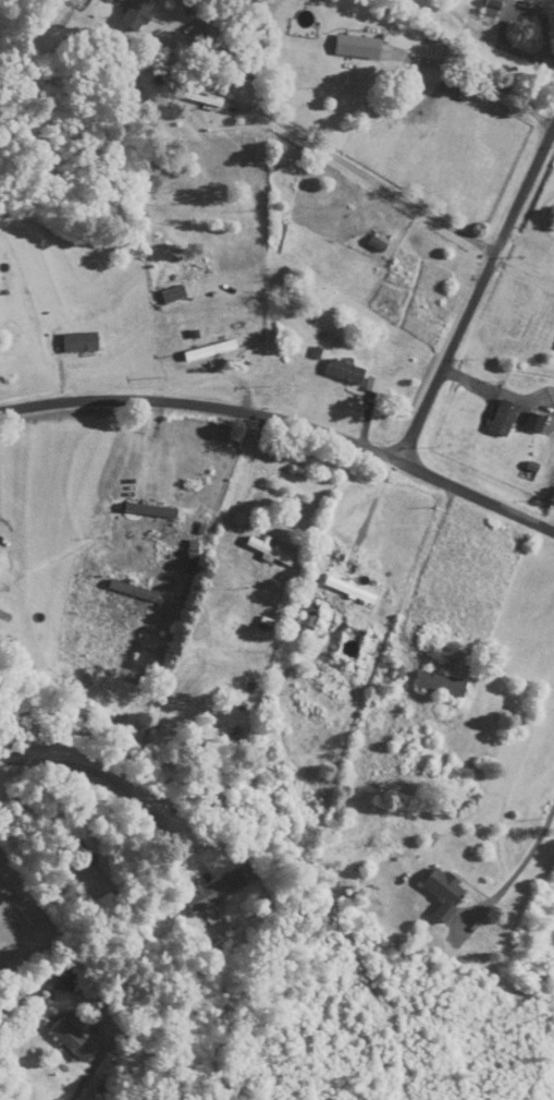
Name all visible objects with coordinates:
building: (493, 9)
building: (139, 13)
building: (360, 48)
road: (492, 81)
building: (204, 98)
road: (341, 159)
road: (477, 294)
building: (180, 301)
building: (82, 343)
building: (212, 350)
building: (346, 372)
building: (505, 419)
road: (285, 421)
building: (535, 424)
building: (152, 510)
building: (271, 553)
road: (417, 575)
building: (352, 591)
building: (311, 619)
building: (90, 654)
building: (442, 685)
road: (96, 773)
road: (519, 870)
building: (220, 890)
building: (445, 893)
building: (73, 1040)
road: (83, 1081)

